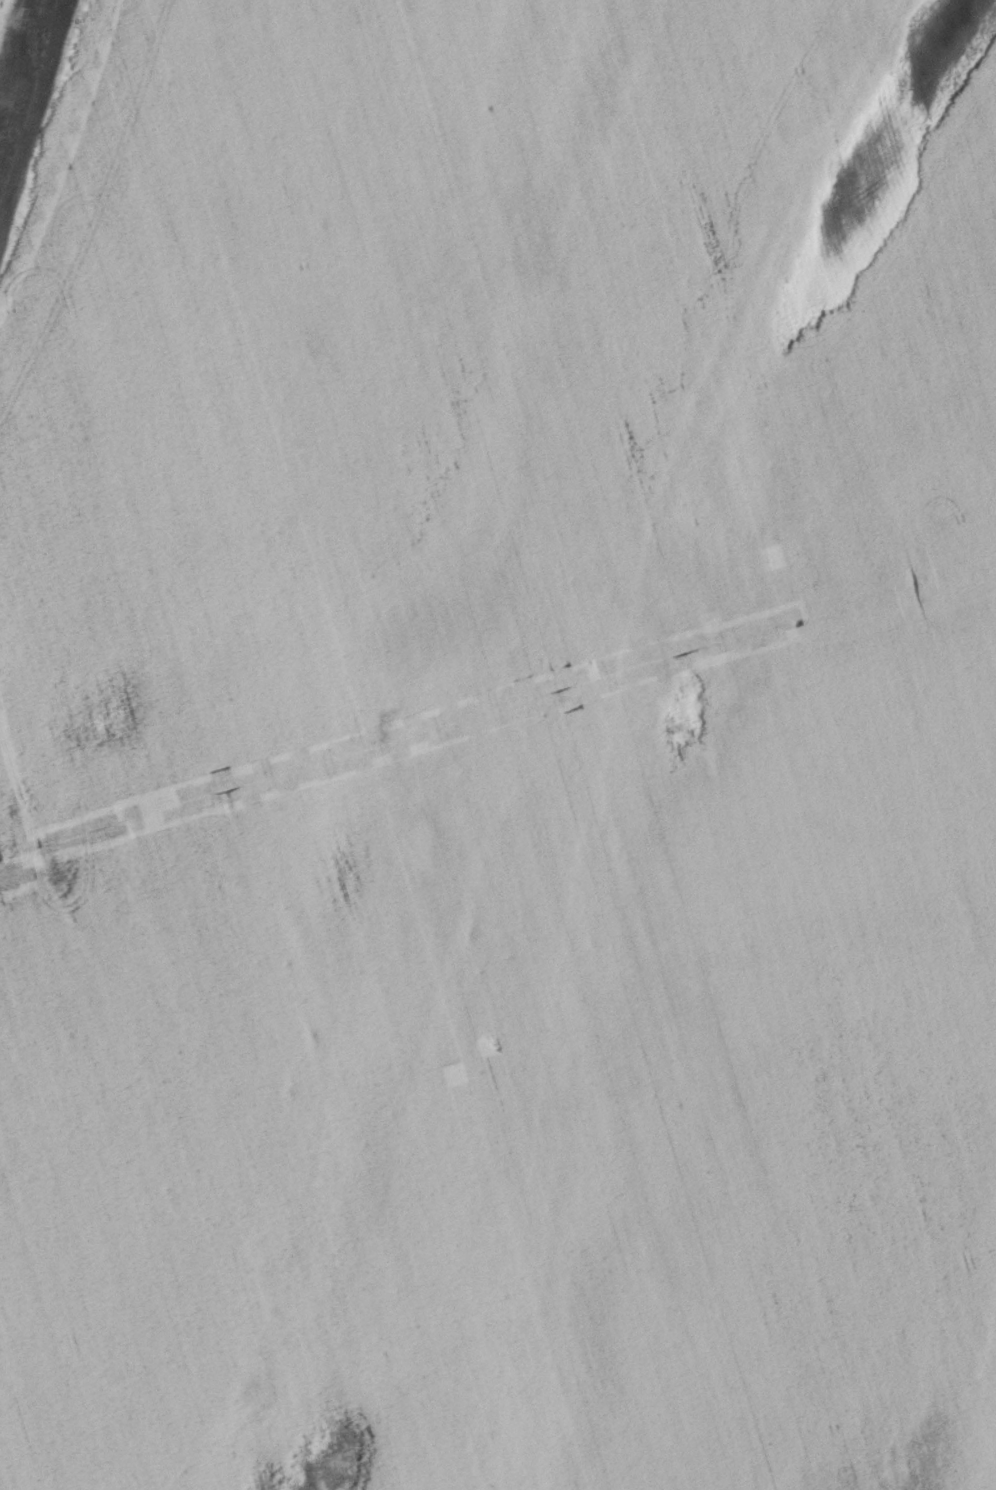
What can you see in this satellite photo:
crop: (498, 745)

